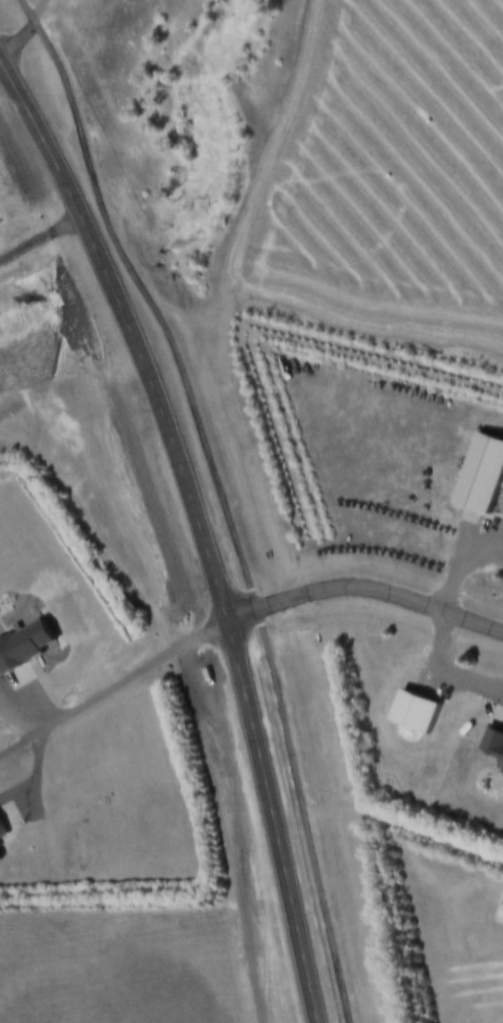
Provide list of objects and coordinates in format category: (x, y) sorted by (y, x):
road: (26, 34)
road: (3, 71)
road: (40, 243)
building: (482, 476)
road: (220, 498)
road: (201, 525)
road: (364, 590)
building: (23, 653)
road: (112, 692)
building: (414, 714)
road: (21, 724)
building: (500, 756)
building: (6, 829)
building: (0, 863)

